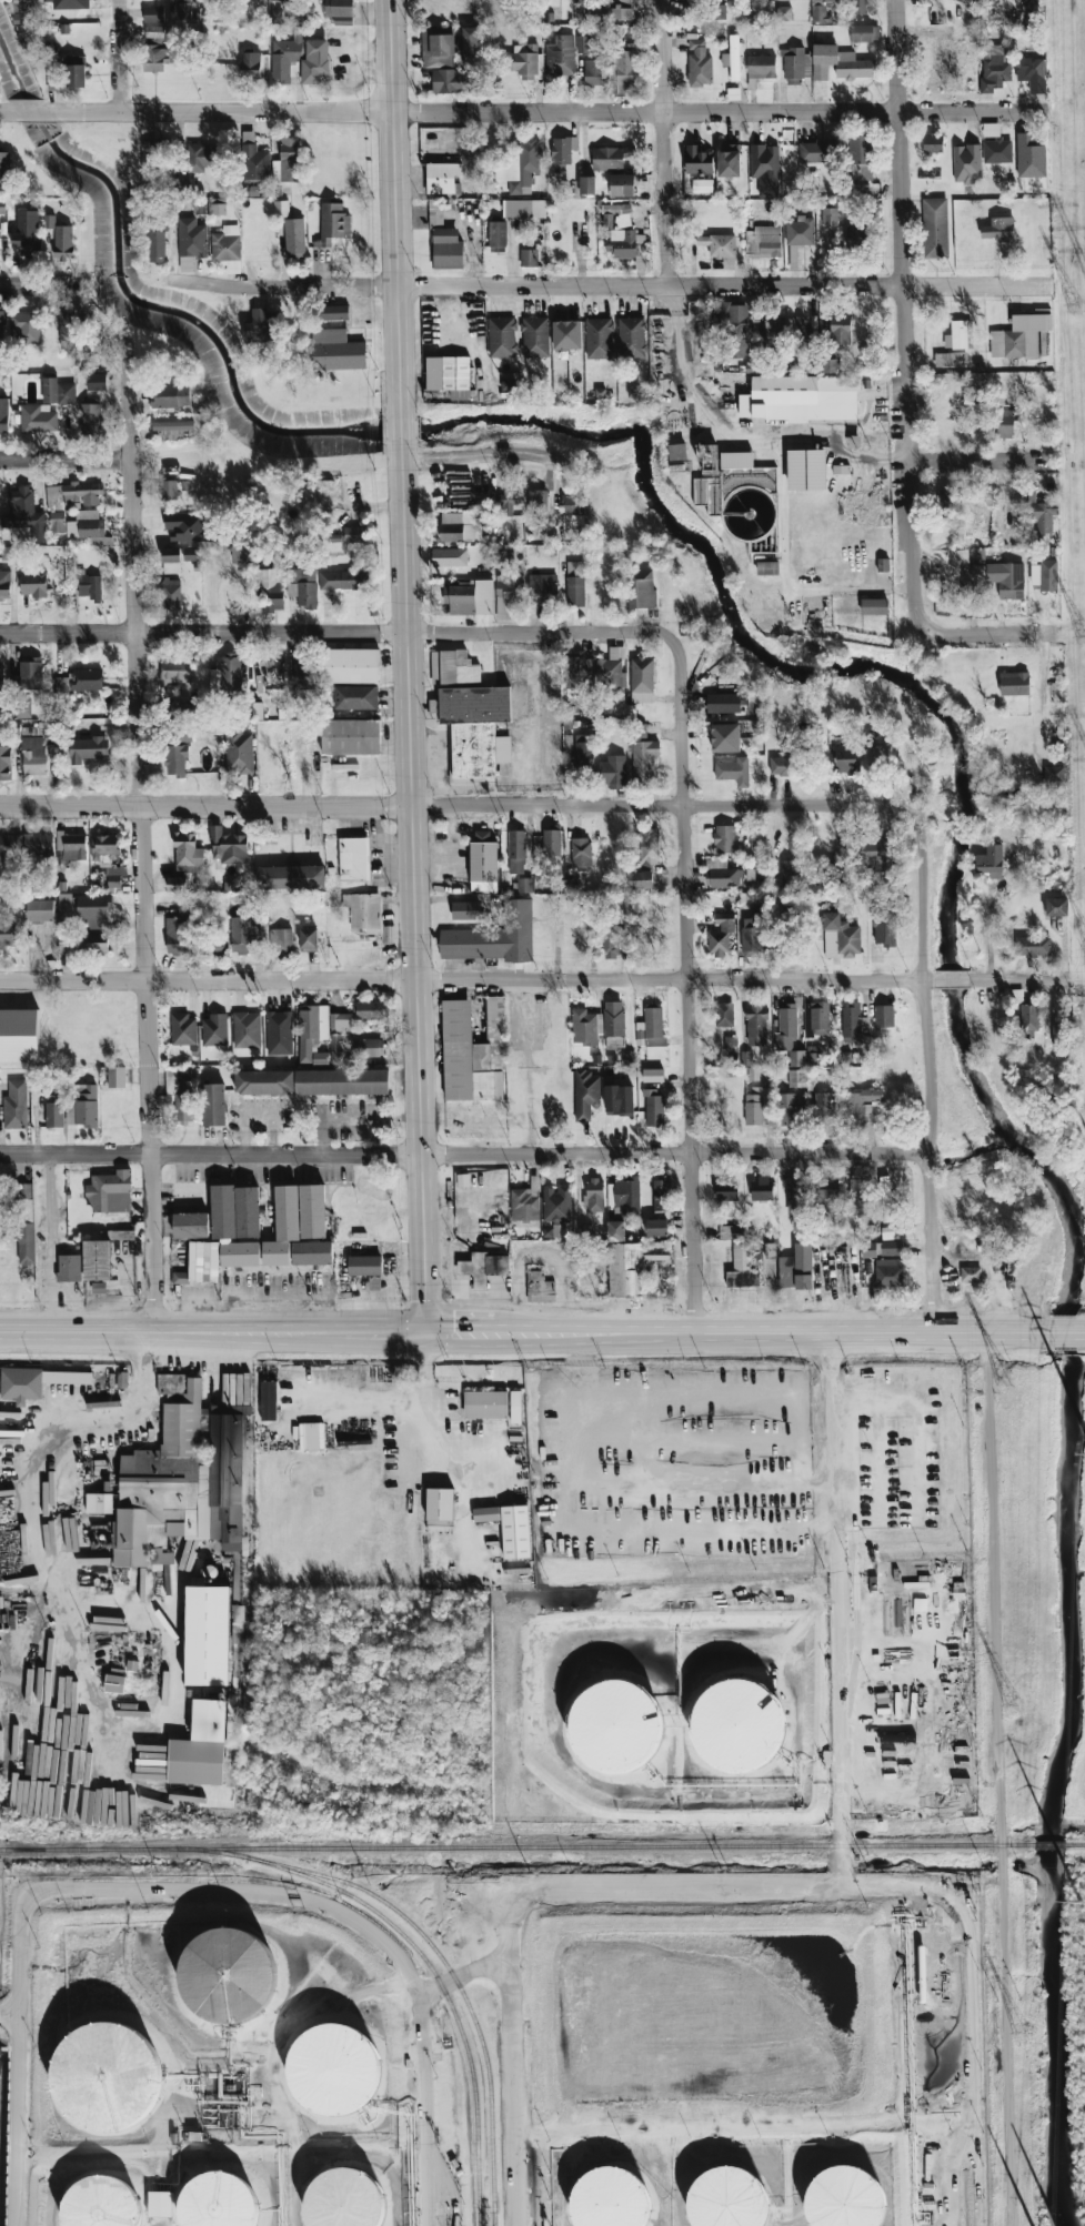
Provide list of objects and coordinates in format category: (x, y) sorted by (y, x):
building: (717, 0)
building: (830, 0)
building: (971, 0)
building: (287, 2)
building: (70, 3)
building: (690, 4)
building: (21, 6)
building: (858, 7)
building: (338, 8)
building: (182, 9)
building: (611, 11)
building: (784, 13)
building: (818, 13)
building: (153, 14)
building: (864, 33)
building: (583, 43)
building: (470, 44)
building: (438, 50)
building: (155, 51)
road: (118, 57)
building: (560, 57)
building: (732, 58)
building: (300, 59)
building: (526, 61)
building: (699, 63)
building: (838, 63)
building: (250, 64)
building: (795, 64)
building: (761, 67)
building: (941, 67)
building: (993, 68)
building: (76, 71)
building: (593, 72)
building: (625, 72)
building: (1032, 72)
building: (449, 81)
road: (546, 111)
road: (32, 113)
road: (7, 114)
road: (662, 142)
building: (933, 143)
building: (995, 144)
building: (153, 151)
building: (816, 151)
building: (563, 152)
building: (1031, 157)
building: (200, 158)
building: (611, 158)
building: (289, 159)
building: (861, 159)
building: (697, 160)
building: (729, 160)
building: (764, 162)
building: (255, 163)
building: (967, 163)
building: (4, 165)
building: (520, 167)
building: (442, 178)
building: (586, 184)
building: (622, 184)
building: (702, 185)
building: (862, 191)
road: (395, 205)
building: (2, 207)
building: (218, 207)
building: (281, 208)
building: (524, 208)
building: (828, 214)
building: (435, 220)
building: (48, 221)
building: (332, 224)
building: (935, 228)
building: (998, 228)
building: (800, 231)
building: (27, 233)
building: (623, 234)
building: (496, 236)
building: (856, 236)
building: (192, 238)
building: (294, 239)
building: (63, 242)
building: (762, 242)
building: (225, 243)
building: (719, 245)
building: (157, 246)
building: (446, 249)
building: (529, 258)
building: (185, 264)
building: (233, 266)
road: (609, 285)
road: (41, 286)
power tower: (1077, 308)
building: (333, 312)
road: (902, 315)
building: (1, 324)
building: (734, 324)
building: (261, 326)
building: (26, 328)
building: (70, 328)
building: (775, 330)
building: (840, 330)
building: (566, 334)
building: (958, 335)
building: (1019, 335)
building: (501, 336)
building: (534, 336)
building: (631, 338)
building: (599, 339)
building: (96, 350)
building: (336, 351)
building: (866, 357)
building: (951, 359)
building: (830, 365)
building: (449, 375)
building: (97, 381)
building: (58, 391)
building: (171, 395)
building: (800, 399)
building: (973, 399)
building: (200, 405)
building: (3, 415)
building: (90, 415)
building: (38, 419)
building: (1003, 422)
building: (172, 425)
road: (402, 427)
road: (978, 455)
road: (478, 456)
building: (707, 456)
road: (64, 457)
building: (735, 460)
road: (778, 463)
building: (806, 470)
building: (170, 490)
building: (72, 494)
building: (538, 502)
building: (948, 502)
building: (506, 503)
building: (21, 510)
building: (573, 510)
building: (1039, 513)
building: (56, 522)
building: (86, 525)
building: (185, 526)
building: (460, 526)
building: (353, 534)
building: (7, 553)
building: (190, 554)
building: (240, 554)
building: (504, 556)
building: (960, 556)
building: (449, 557)
building: (171, 561)
building: (882, 564)
building: (574, 568)
building: (767, 568)
building: (1045, 575)
building: (1006, 578)
building: (342, 580)
building: (4, 584)
building: (33, 584)
building: (89, 586)
building: (302, 587)
building: (543, 588)
building: (641, 588)
building: (270, 590)
building: (575, 591)
building: (170, 594)
building: (508, 594)
building: (470, 597)
building: (874, 606)
road: (989, 628)
road: (335, 631)
building: (350, 666)
building: (453, 667)
building: (175, 669)
building: (611, 669)
building: (573, 673)
building: (225, 674)
building: (30, 675)
building: (642, 679)
building: (309, 682)
building: (78, 683)
building: (1014, 683)
building: (0, 697)
building: (355, 697)
building: (726, 702)
building: (22, 705)
building: (181, 722)
building: (215, 727)
building: (474, 731)
building: (350, 736)
building: (725, 737)
building: (583, 748)
building: (86, 749)
building: (238, 751)
building: (642, 754)
building: (33, 755)
building: (877, 757)
building: (177, 759)
building: (845, 759)
building: (783, 766)
building: (614, 770)
building: (734, 772)
building: (1053, 773)
road: (452, 804)
road: (138, 835)
building: (724, 838)
building: (552, 843)
building: (10, 844)
building: (38, 845)
building: (71, 846)
building: (649, 846)
building: (228, 847)
building: (187, 850)
building: (516, 852)
building: (580, 853)
building: (874, 853)
building: (353, 858)
building: (989, 862)
building: (483, 863)
building: (788, 872)
building: (722, 874)
building: (291, 877)
building: (643, 879)
building: (177, 885)
road: (413, 885)
building: (524, 885)
road: (918, 893)
building: (630, 900)
building: (1056, 906)
building: (589, 909)
building: (40, 910)
building: (363, 910)
building: (465, 910)
building: (884, 927)
building: (7, 933)
building: (242, 934)
building: (175, 935)
building: (721, 935)
building: (214, 936)
building: (751, 936)
building: (494, 937)
building: (840, 937)
building: (308, 939)
building: (281, 940)
building: (612, 940)
building: (80, 944)
building: (1033, 946)
road: (466, 979)
road: (952, 979)
road: (1017, 979)
road: (1074, 980)
road: (685, 983)
building: (369, 1010)
building: (723, 1014)
building: (884, 1016)
building: (820, 1018)
building: (1027, 1019)
building: (340, 1021)
building: (852, 1021)
building: (313, 1023)
building: (614, 1024)
building: (756, 1025)
building: (786, 1025)
building: (653, 1026)
building: (585, 1027)
building: (183, 1029)
building: (247, 1029)
building: (214, 1030)
building: (279, 1033)
building: (19, 1035)
building: (1059, 1035)
building: (334, 1041)
building: (730, 1046)
building: (368, 1047)
building: (473, 1051)
building: (320, 1058)
building: (796, 1058)
building: (812, 1059)
building: (653, 1075)
building: (115, 1077)
building: (174, 1079)
building: (342, 1081)
building: (264, 1082)
building: (585, 1094)
building: (619, 1099)
building: (822, 1102)
building: (214, 1104)
building: (16, 1105)
building: (757, 1105)
building: (82, 1106)
building: (857, 1106)
building: (654, 1108)
building: (182, 1109)
building: (787, 1109)
building: (54, 1111)
building: (874, 1111)
road: (924, 1154)
road: (462, 1157)
building: (761, 1188)
building: (827, 1188)
building: (726, 1190)
building: (110, 1192)
building: (661, 1192)
building: (626, 1193)
building: (593, 1195)
building: (857, 1196)
building: (796, 1198)
building: (885, 1198)
building: (556, 1203)
building: (235, 1211)
building: (21, 1219)
building: (191, 1225)
building: (656, 1227)
building: (282, 1228)
building: (615, 1230)
building: (554, 1231)
building: (731, 1231)
road: (49, 1242)
building: (882, 1248)
building: (656, 1250)
building: (312, 1252)
building: (97, 1260)
building: (203, 1261)
building: (364, 1265)
building: (69, 1268)
building: (483, 1268)
building: (742, 1268)
building: (796, 1268)
building: (624, 1269)
building: (888, 1272)
building: (971, 1275)
building: (180, 1278)
building: (374, 1282)
building: (539, 1283)
road: (181, 1328)
road: (394, 1328)
traffic signals: (425, 1328)
road: (460, 1328)
road: (774, 1328)
road: (1065, 1328)
road: (1081, 1329)
power tower: (1001, 1378)
building: (36, 1382)
building: (268, 1400)
building: (485, 1403)
road: (832, 1403)
building: (515, 1407)
road: (580, 1407)
road: (449, 1448)
building: (182, 1480)
road: (709, 1484)
building: (99, 1503)
building: (486, 1514)
road: (683, 1529)
building: (515, 1532)
road: (27, 1541)
building: (439, 1548)
building: (0, 1602)
road: (109, 1614)
building: (208, 1635)
road: (842, 1682)
building: (114, 1683)
power tower: (1011, 1705)
building: (615, 1723)
building: (740, 1726)
building: (200, 1746)
road: (998, 1776)
railway: (1049, 1844)
railway: (1075, 1844)
railway: (516, 1846)
road: (736, 1885)
road: (127, 1890)
power tower: (1081, 1902)
railway: (435, 1950)
building: (228, 1976)
railway: (442, 1987)
road: (9, 2013)
power tower: (1021, 2031)
building: (332, 2072)
building: (103, 2077)
road: (424, 2109)
road: (744, 2129)
building: (732, 2198)
building: (611, 2199)
building: (342, 2200)
building: (848, 2200)
building: (101, 2202)
building: (215, 2202)
building: (160, 2204)

